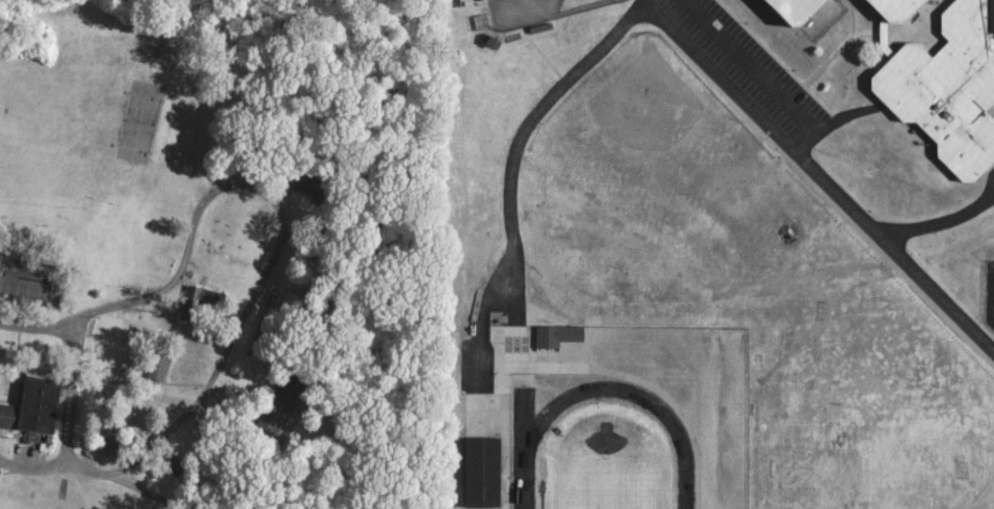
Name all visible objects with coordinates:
building: (895, 8)
building: (795, 9)
park: (538, 10)
road: (747, 64)
building: (948, 86)
road: (828, 121)
road: (519, 138)
park: (649, 152)
road: (818, 175)
building: (302, 183)
road: (941, 219)
building: (25, 277)
building: (196, 295)
road: (242, 311)
road: (36, 326)
building: (569, 332)
building: (157, 366)
building: (283, 399)
building: (32, 405)
building: (453, 405)
park: (836, 424)
track: (524, 446)
building: (481, 471)
park: (608, 483)

